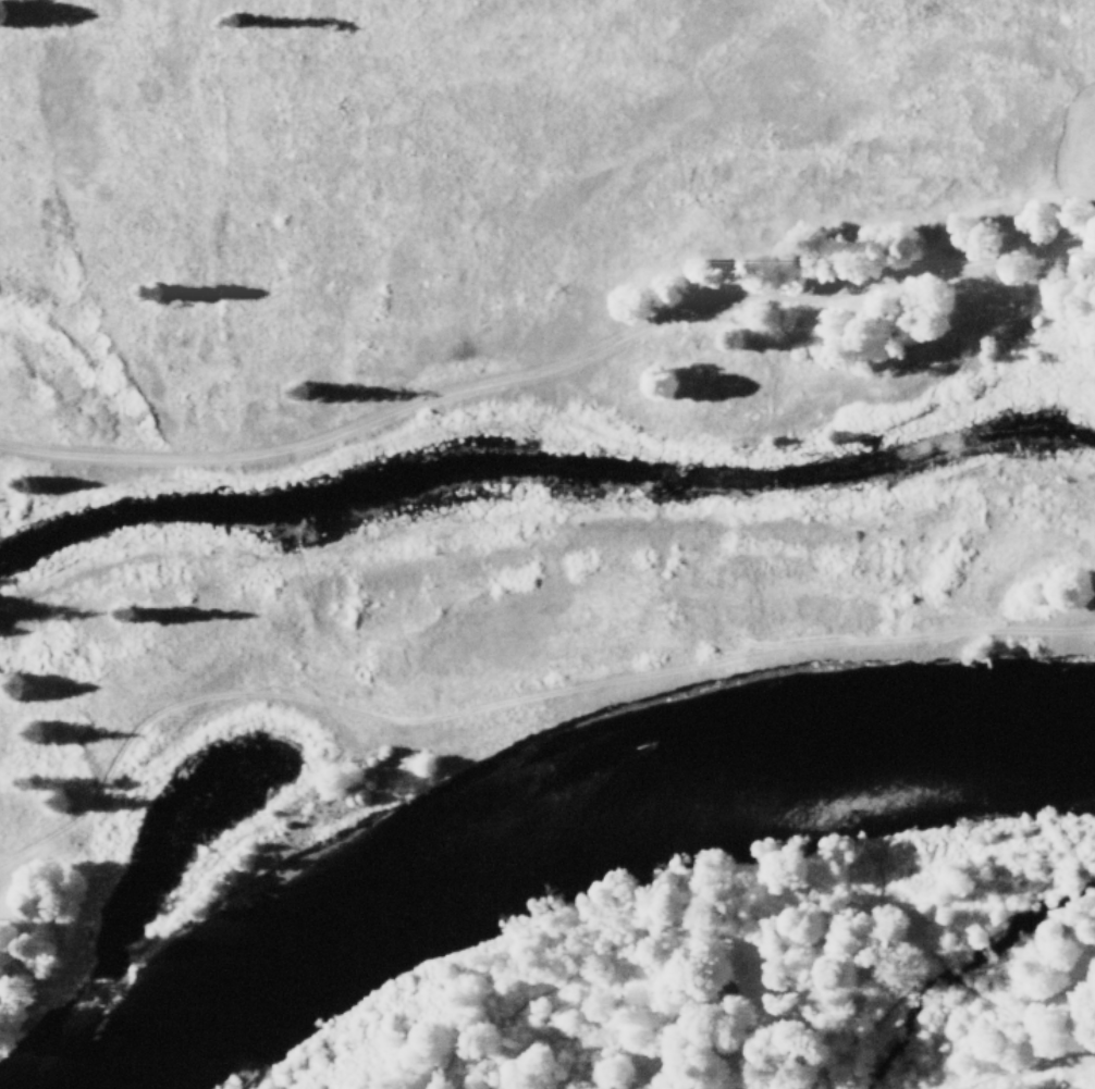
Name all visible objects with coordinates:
river: (570, 830)

